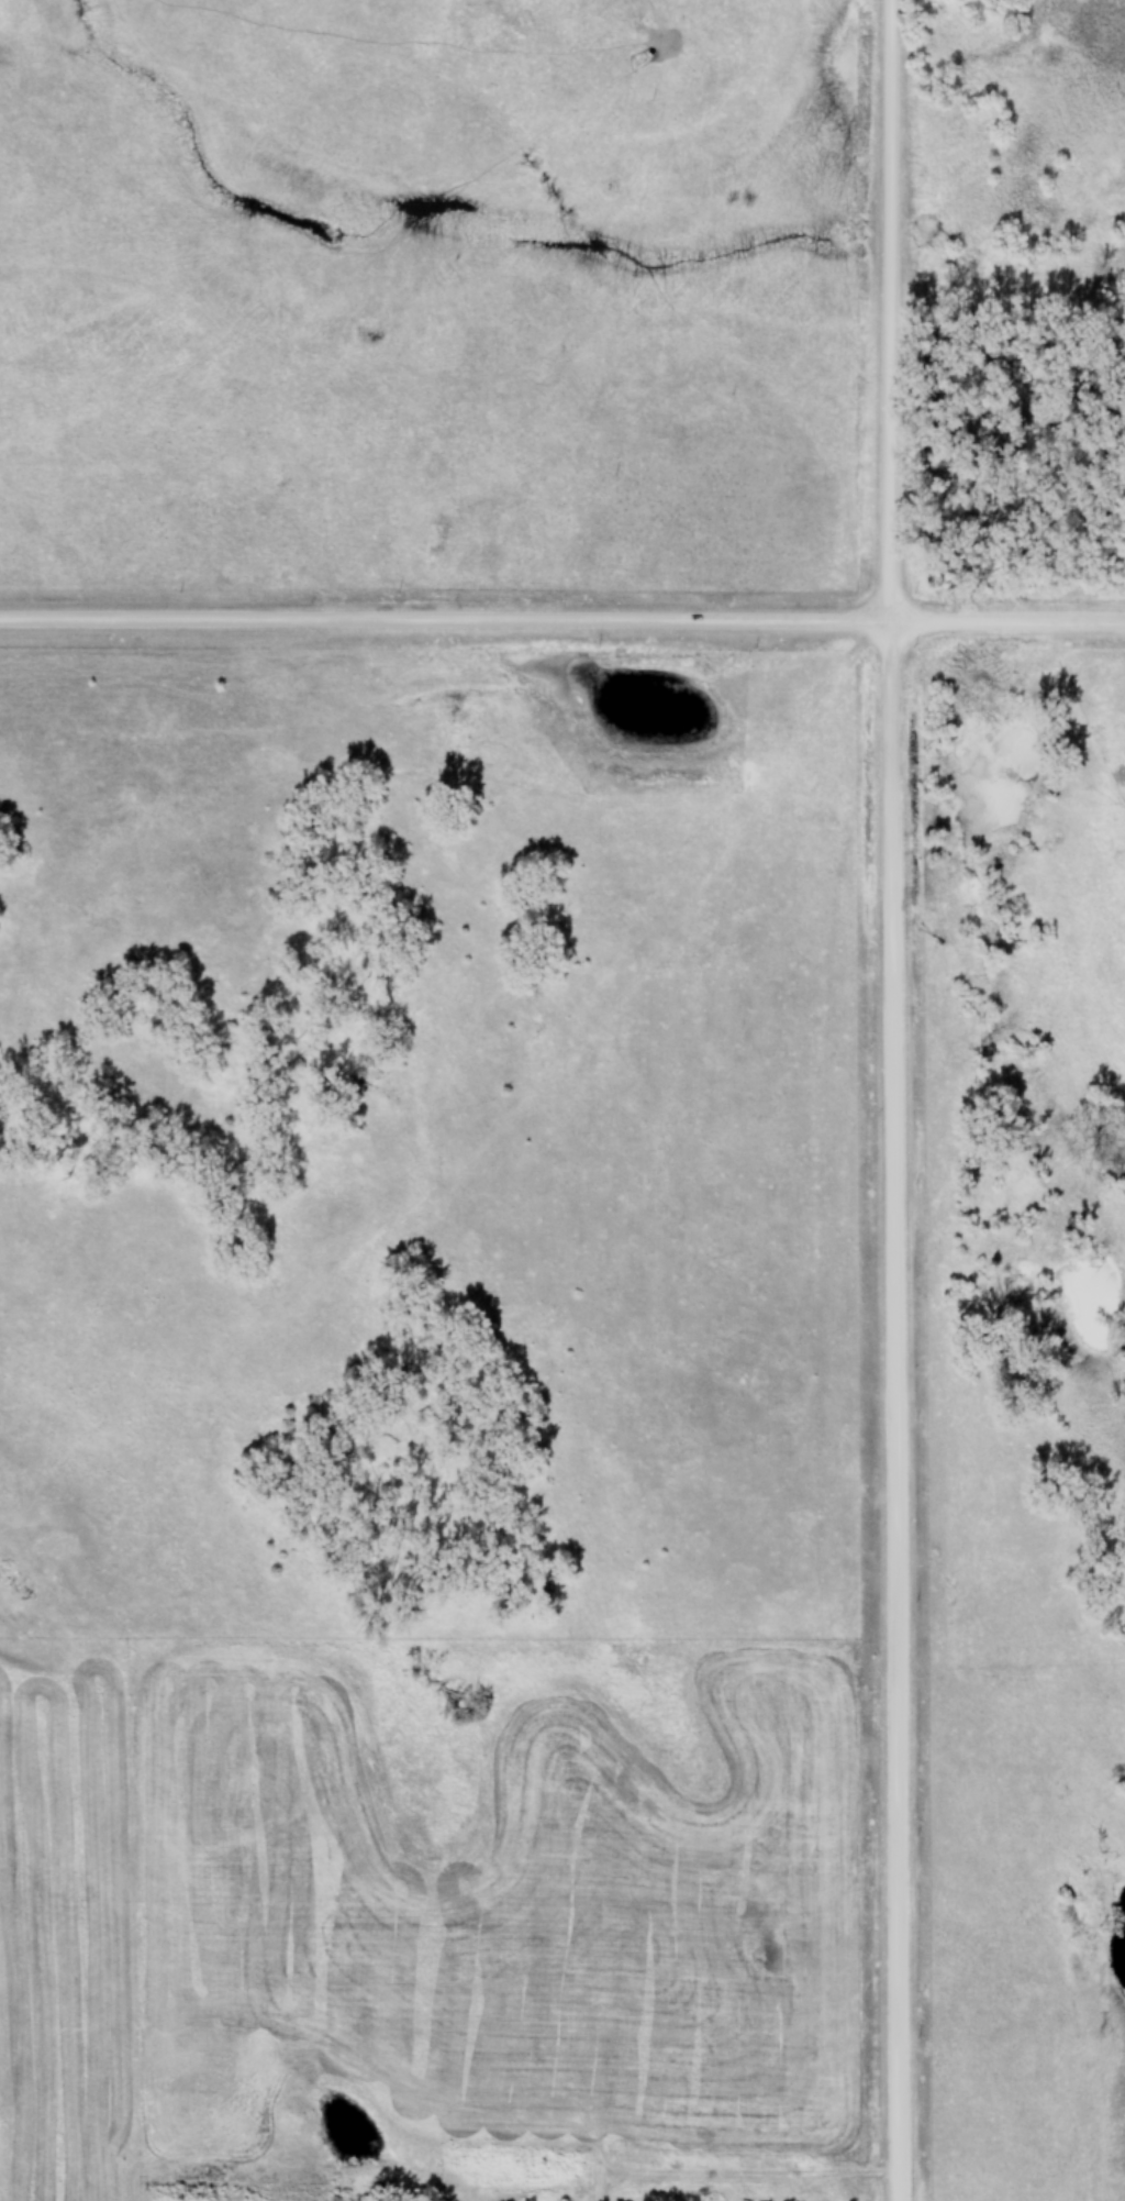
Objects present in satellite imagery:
road: (561, 617)
road: (889, 1100)

